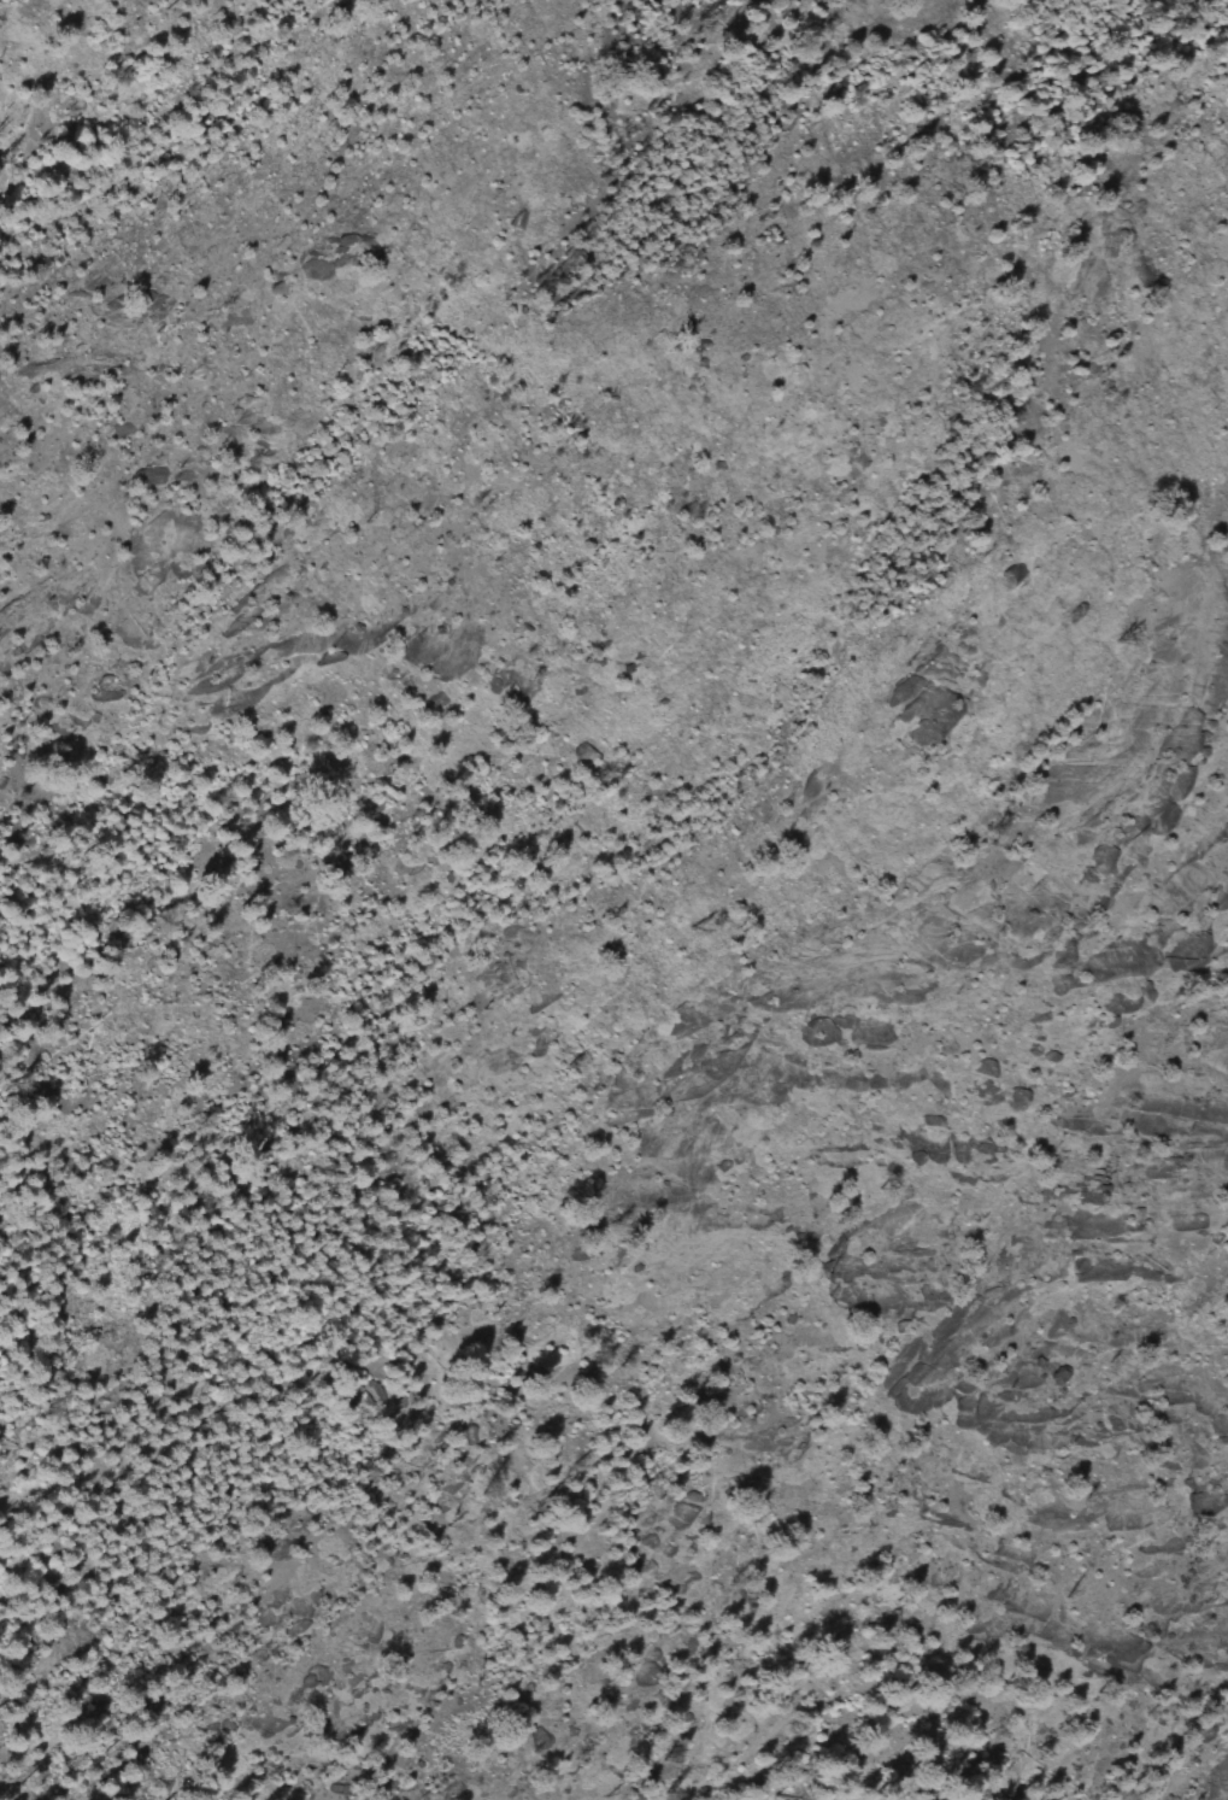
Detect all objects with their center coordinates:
road: (511, 1437)
road: (1204, 1788)

